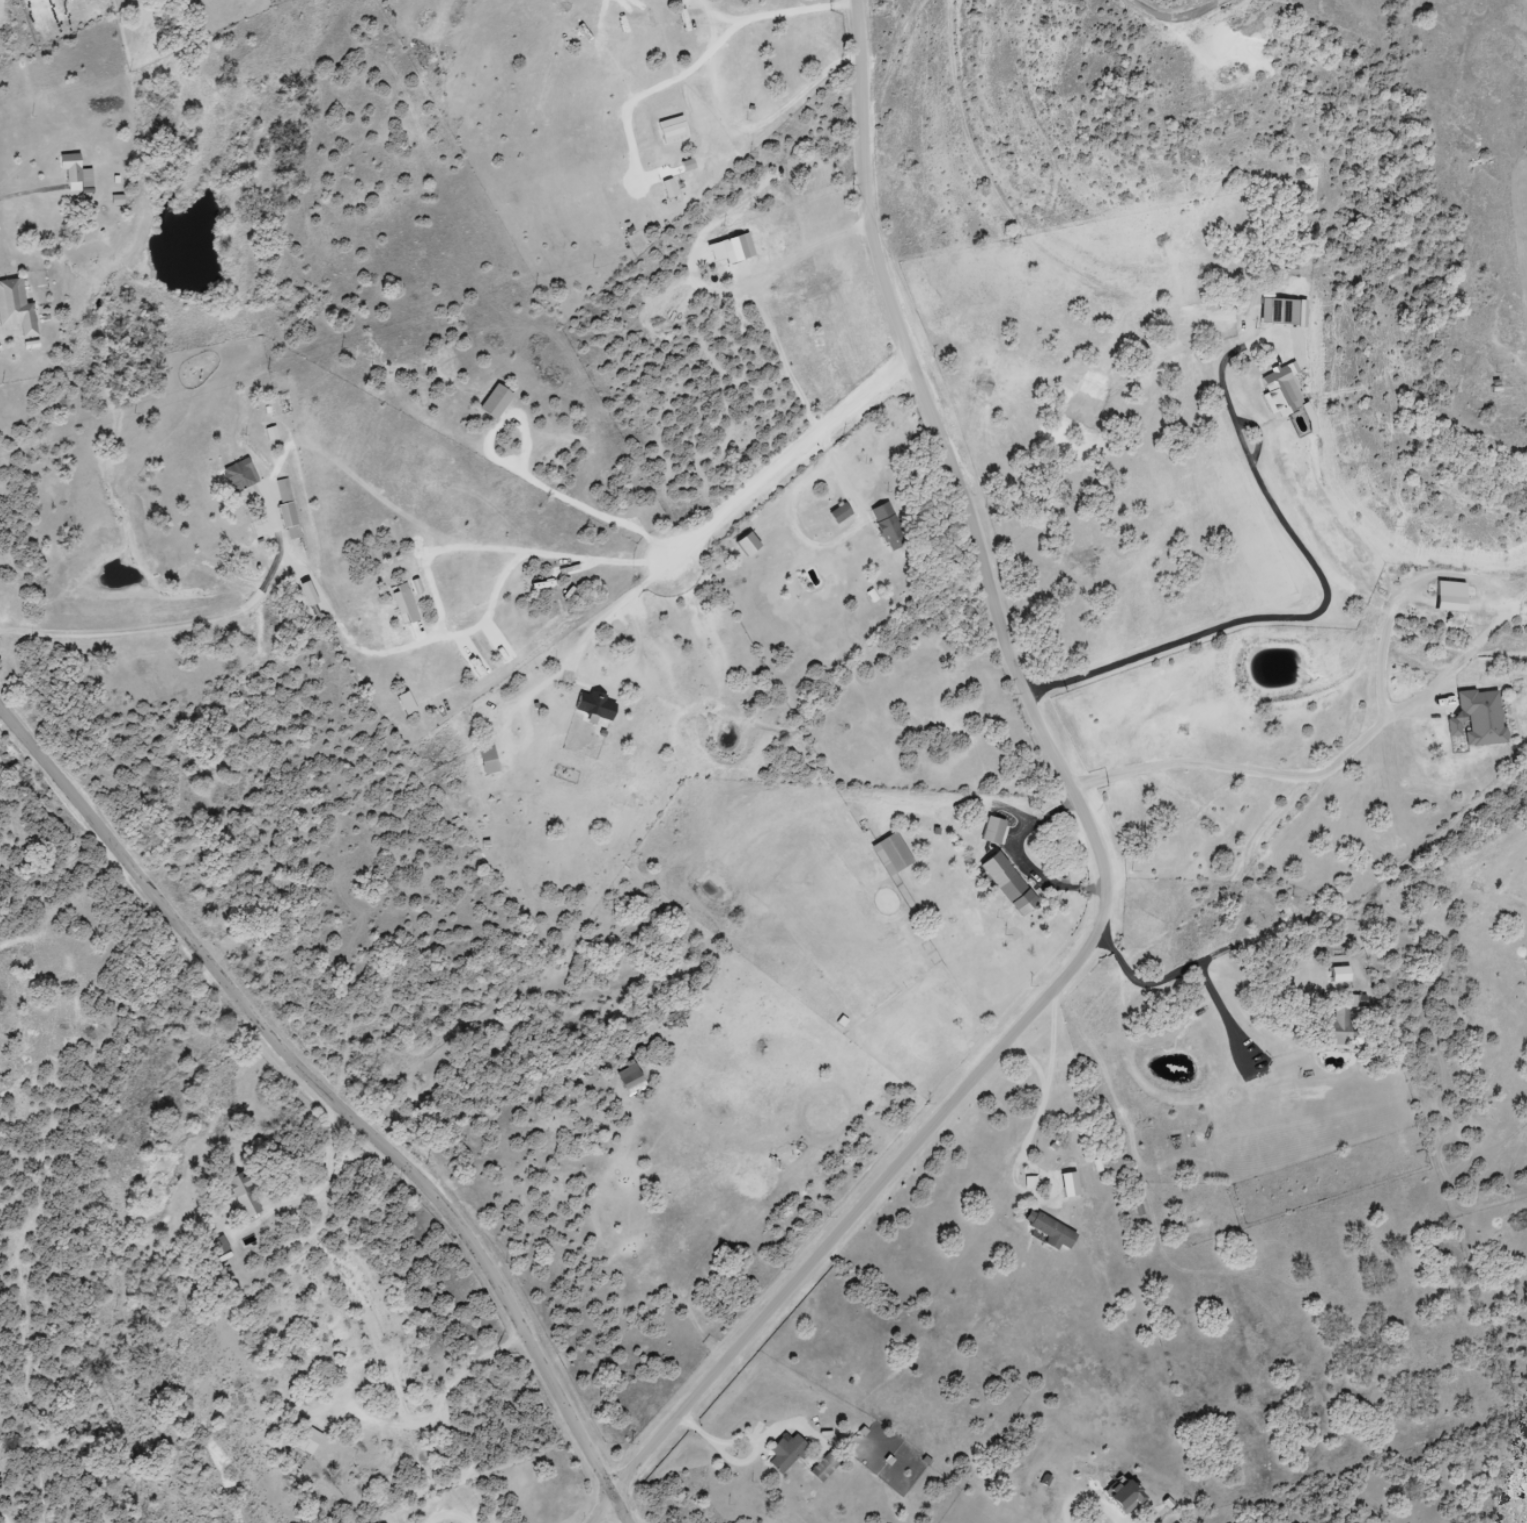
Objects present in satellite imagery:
road: (1197, 25)
road: (895, 57)
building: (670, 130)
building: (73, 174)
building: (14, 308)
building: (1276, 312)
building: (1279, 394)
road: (795, 459)
building: (237, 476)
building: (285, 516)
building: (840, 517)
building: (887, 527)
building: (1447, 597)
road: (1273, 616)
road: (153, 626)
building: (591, 706)
building: (1476, 719)
building: (485, 762)
building: (991, 831)
road: (1093, 831)
building: (889, 855)
building: (1006, 884)
road: (1314, 909)
building: (1337, 975)
building: (1356, 1002)
building: (1333, 1031)
building: (629, 1081)
road: (334, 1103)
building: (240, 1197)
building: (1047, 1231)
building: (214, 1249)
building: (305, 1441)
building: (784, 1453)
building: (823, 1459)
building: (1122, 1495)

